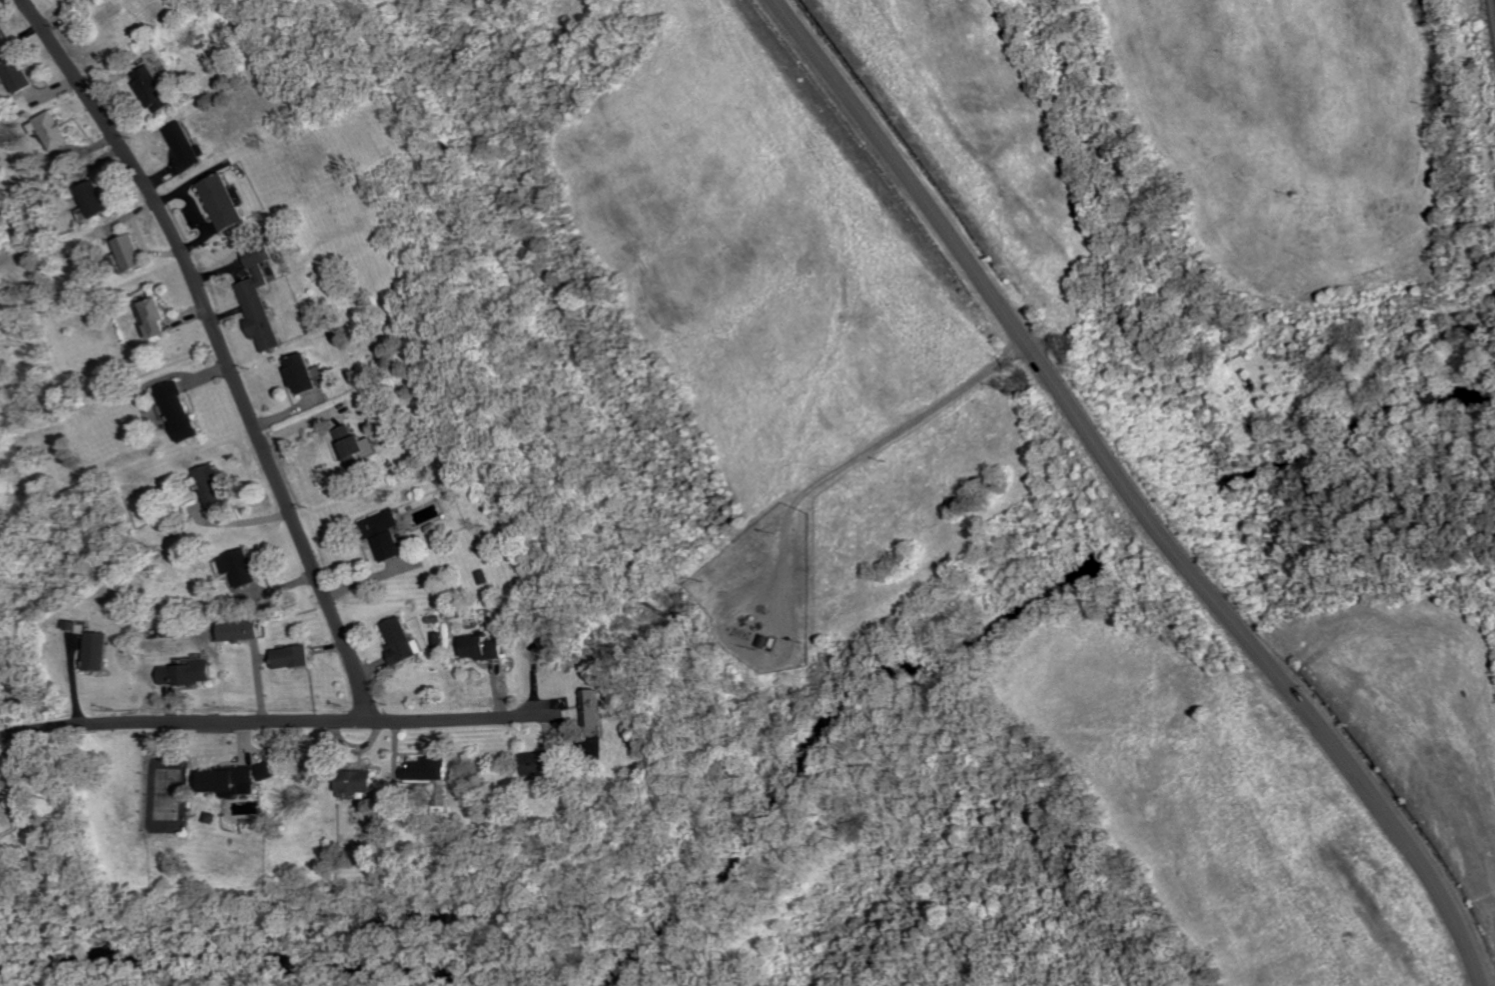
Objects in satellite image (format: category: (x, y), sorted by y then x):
building: (82, 3)
building: (2, 38)
building: (20, 75)
building: (155, 90)
building: (55, 131)
building: (188, 149)
building: (96, 200)
building: (226, 203)
building: (131, 252)
building: (261, 302)
building: (157, 318)
road: (221, 349)
building: (304, 372)
building: (180, 410)
building: (357, 447)
road: (866, 449)
building: (214, 486)
road: (1136, 489)
building: (389, 533)
building: (243, 567)
building: (243, 629)
building: (402, 640)
building: (486, 647)
building: (102, 650)
building: (295, 656)
building: (188, 672)
building: (598, 706)
road: (278, 722)
building: (541, 762)
building: (433, 768)
building: (268, 770)
building: (233, 780)
building: (361, 780)
building: (2, 783)

